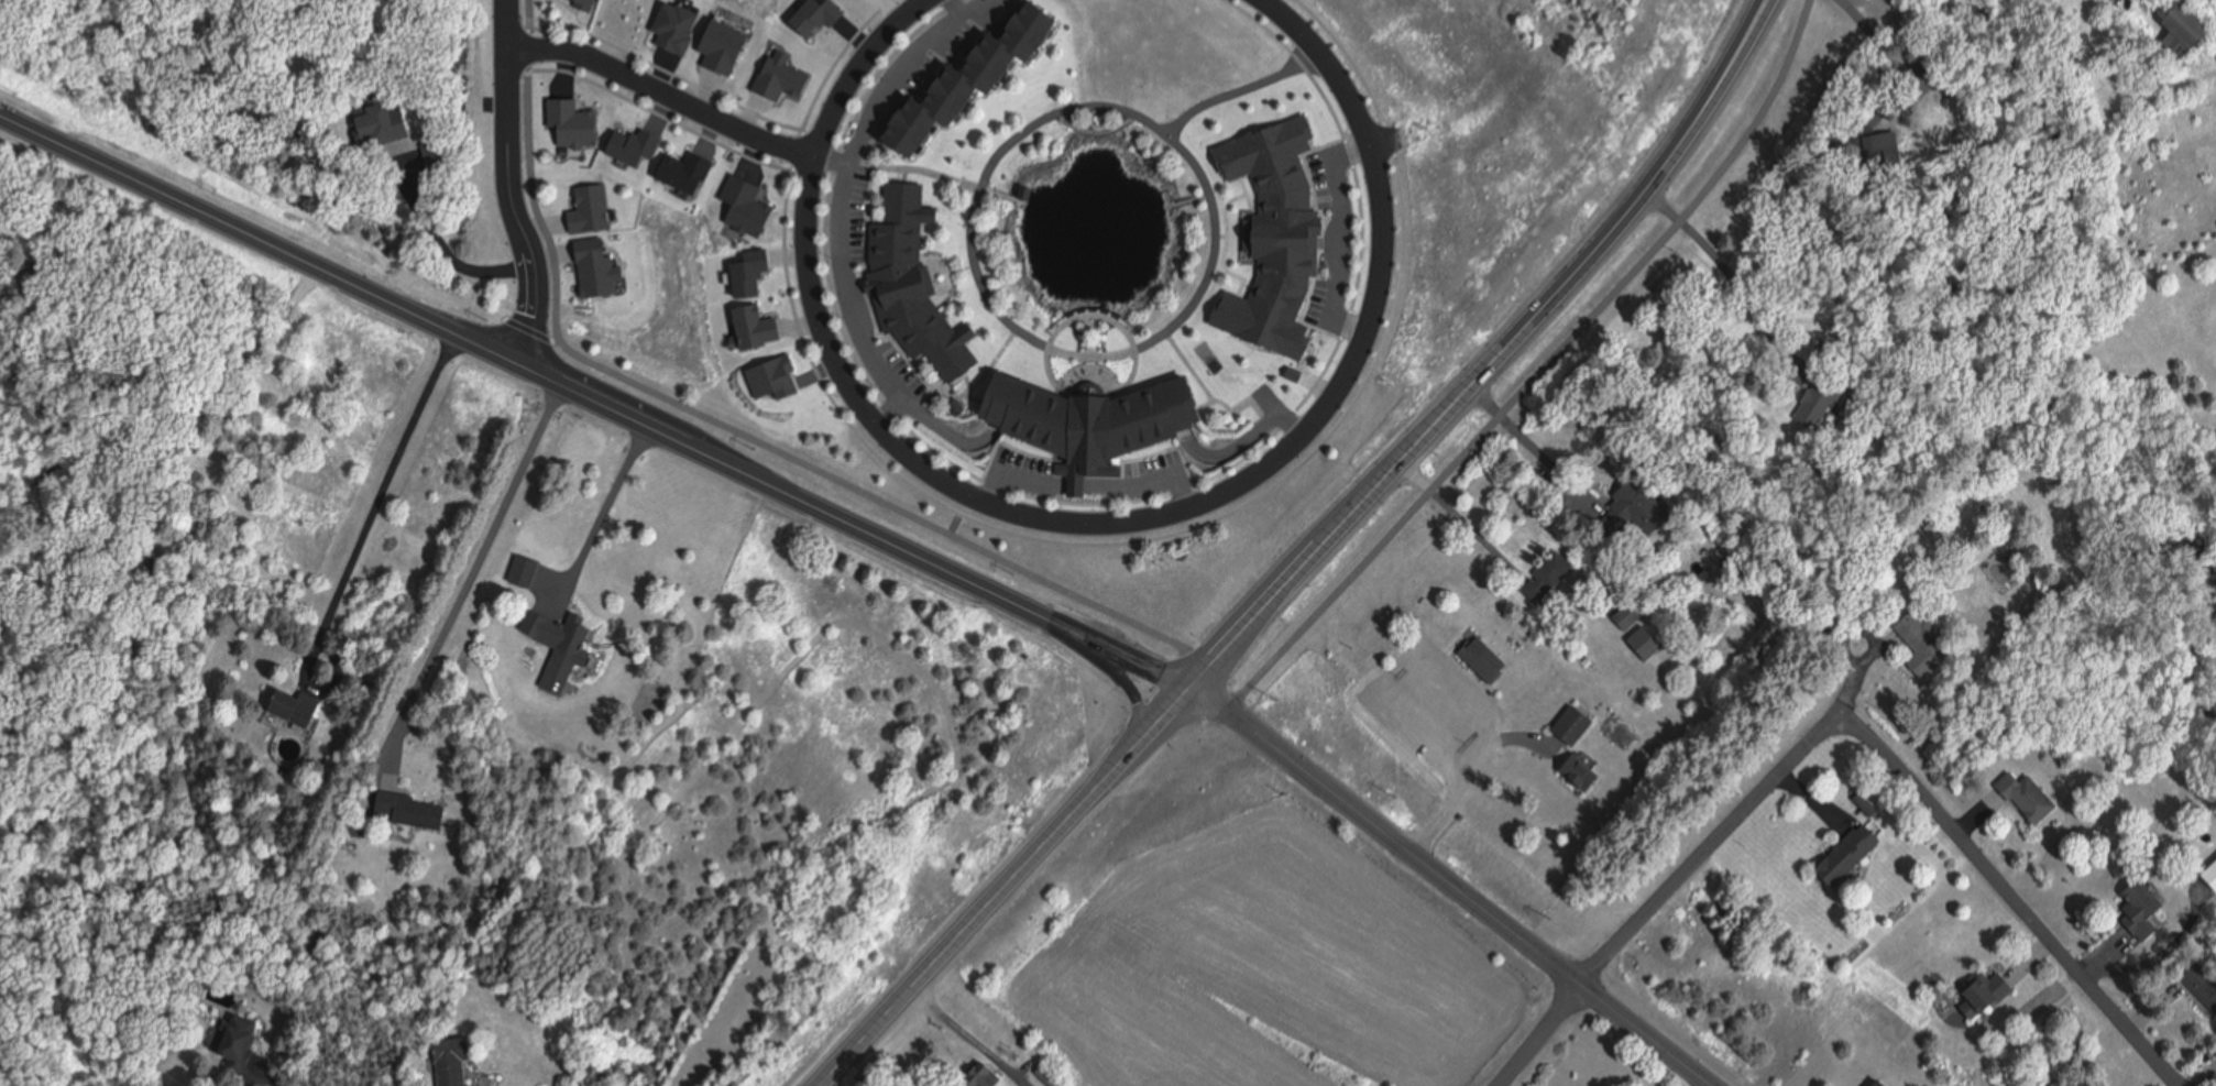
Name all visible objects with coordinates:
building: (585, 3)
building: (2173, 31)
road: (1893, 48)
building: (985, 81)
road: (662, 94)
building: (386, 124)
road: (1385, 139)
building: (1879, 150)
road: (509, 184)
park: (1093, 229)
road: (256, 237)
road: (1725, 268)
building: (915, 285)
park: (652, 328)
road: (531, 330)
road: (1500, 358)
road: (1539, 371)
building: (776, 379)
building: (1814, 404)
road: (638, 419)
building: (1099, 420)
road: (731, 428)
road: (1527, 439)
road: (382, 490)
road: (605, 505)
building: (1632, 505)
road: (1460, 518)
road: (1094, 524)
road: (918, 553)
road: (473, 570)
building: (526, 570)
building: (1543, 577)
building: (1621, 617)
building: (1918, 645)
building: (1637, 648)
building: (562, 658)
road: (1132, 658)
building: (1477, 661)
road: (1120, 681)
road: (1850, 685)
building: (301, 706)
road: (1165, 718)
building: (1565, 728)
road: (1472, 771)
building: (1573, 774)
building: (2021, 798)
building: (412, 810)
road: (1708, 848)
building: (1841, 856)
building: (2209, 879)
road: (1457, 885)
road: (2016, 899)
building: (2131, 908)
road: (978, 917)
building: (2199, 980)
building: (1978, 991)
road: (1540, 1034)
road: (968, 1036)
building: (241, 1042)
building: (2215, 1057)
building: (456, 1062)
building: (1050, 1075)
building: (987, 1076)
building: (1871, 1084)

